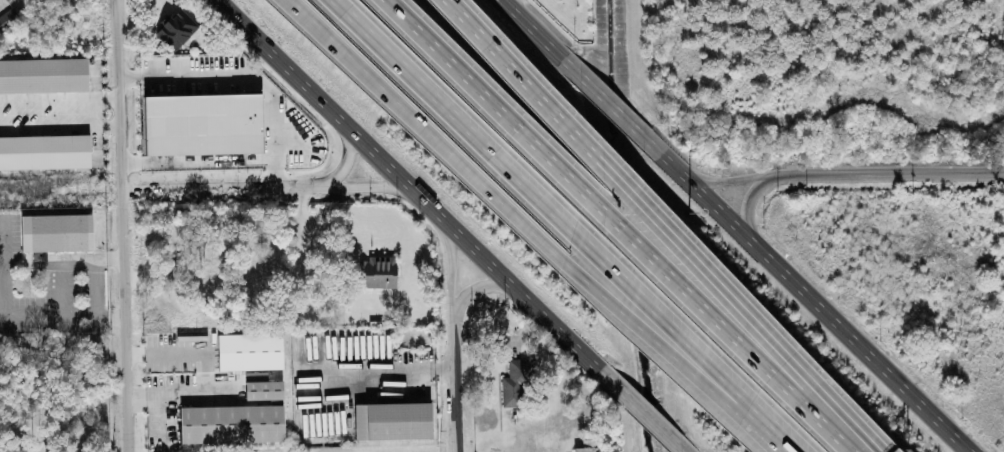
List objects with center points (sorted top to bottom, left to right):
road: (509, 0)
building: (8, 17)
road: (531, 22)
building: (176, 27)
road: (246, 72)
building: (43, 74)
road: (529, 77)
road: (604, 91)
road: (60, 99)
building: (202, 123)
road: (426, 126)
road: (60, 128)
building: (44, 151)
road: (198, 159)
road: (346, 162)
road: (895, 171)
road: (737, 178)
road: (366, 185)
road: (223, 188)
road: (416, 193)
road: (750, 198)
road: (630, 225)
road: (123, 226)
road: (559, 226)
building: (55, 232)
road: (62, 258)
road: (1, 264)
building: (376, 270)
road: (452, 270)
road: (62, 286)
road: (96, 286)
road: (479, 287)
road: (813, 295)
road: (746, 303)
road: (63, 314)
building: (249, 350)
road: (668, 355)
road: (386, 370)
road: (456, 383)
building: (513, 383)
building: (262, 386)
road: (180, 392)
road: (650, 417)
road: (158, 419)
building: (391, 419)
building: (230, 422)
building: (585, 448)

